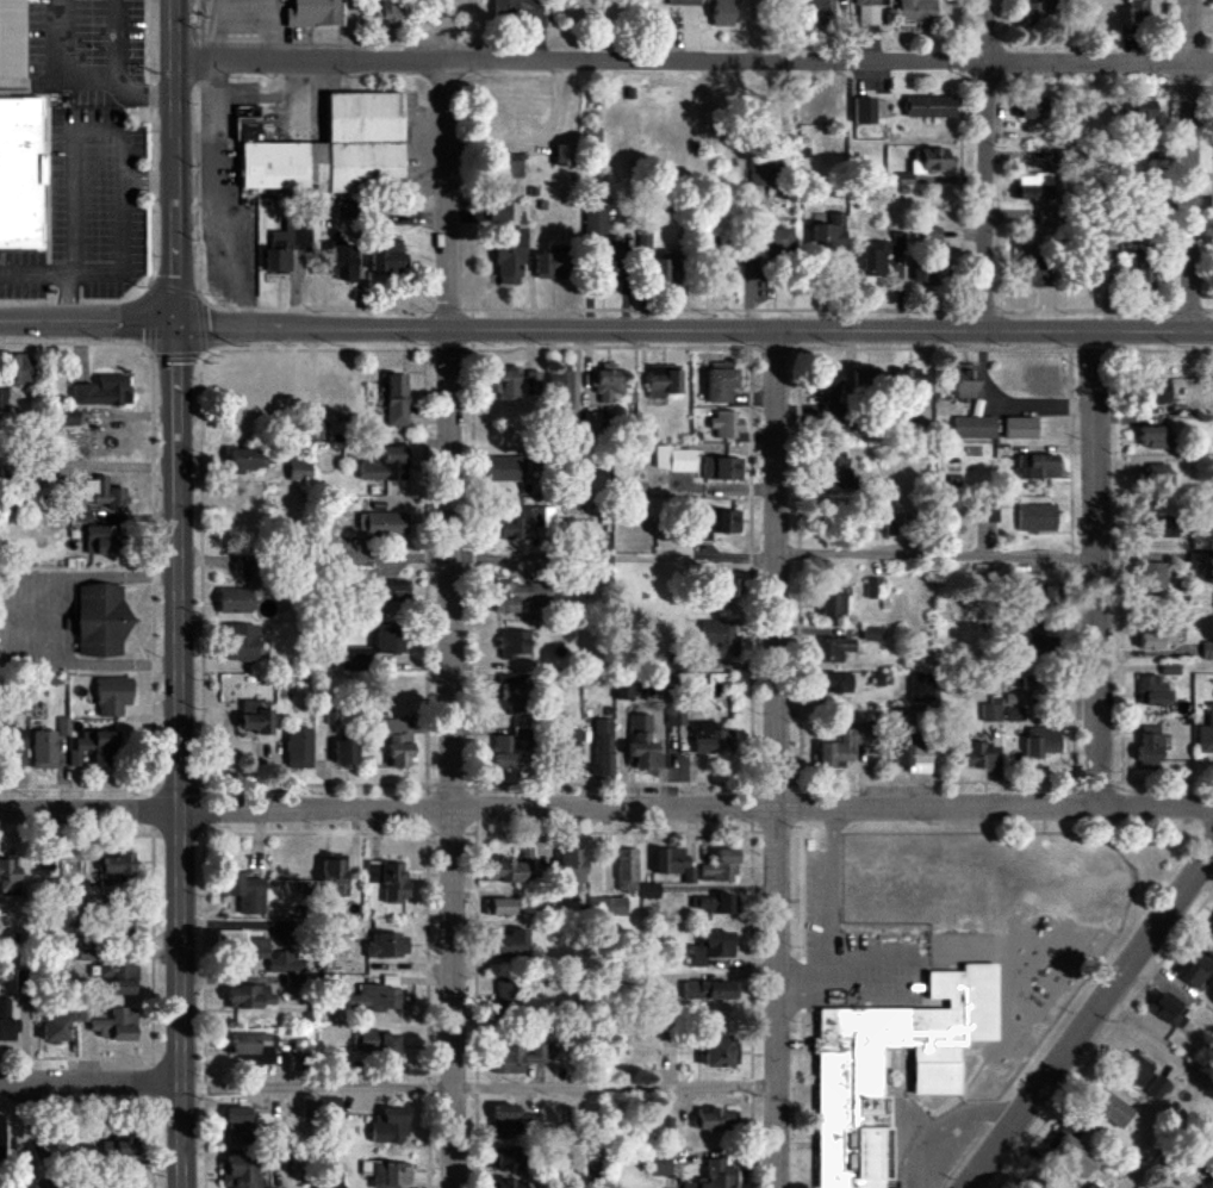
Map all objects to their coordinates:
building: (683, 2)
building: (821, 10)
building: (390, 11)
building: (869, 11)
building: (916, 11)
building: (313, 13)
building: (723, 13)
building: (1038, 13)
building: (1138, 13)
building: (13, 38)
road: (693, 60)
road: (87, 77)
road: (266, 99)
building: (929, 107)
building: (1035, 108)
building: (864, 111)
building: (1143, 116)
building: (247, 124)
road: (120, 135)
road: (194, 142)
building: (336, 151)
building: (564, 156)
building: (931, 161)
road: (987, 163)
road: (1188, 164)
building: (511, 166)
building: (20, 173)
building: (764, 173)
building: (903, 179)
road: (150, 180)
road: (195, 186)
building: (1034, 187)
road: (214, 197)
building: (344, 210)
building: (498, 213)
building: (1050, 218)
road: (194, 219)
building: (596, 222)
building: (828, 235)
building: (932, 235)
building: (290, 237)
building: (643, 240)
building: (775, 243)
building: (900, 243)
building: (387, 256)
building: (509, 256)
building: (876, 259)
building: (611, 260)
building: (278, 261)
building: (343, 263)
building: (932, 265)
building: (552, 267)
building: (1144, 267)
building: (726, 269)
building: (1035, 269)
building: (665, 270)
road: (37, 274)
building: (1099, 274)
road: (74, 299)
road: (88, 324)
road: (695, 326)
building: (20, 369)
building: (864, 380)
building: (664, 381)
building: (966, 381)
building: (608, 382)
building: (721, 382)
building: (912, 382)
building: (512, 384)
building: (560, 391)
building: (101, 392)
building: (1158, 392)
building: (829, 394)
building: (396, 400)
building: (2, 402)
building: (510, 413)
building: (68, 417)
building: (591, 424)
building: (726, 424)
building: (975, 428)
building: (1020, 428)
building: (833, 434)
building: (1155, 436)
building: (249, 458)
building: (673, 459)
building: (384, 465)
building: (1037, 466)
building: (722, 467)
building: (505, 468)
building: (836, 468)
building: (298, 471)
building: (1157, 472)
building: (102, 492)
building: (989, 512)
building: (1035, 517)
building: (895, 521)
building: (716, 522)
building: (1159, 522)
building: (381, 523)
building: (101, 539)
building: (1202, 541)
road: (935, 555)
building: (1198, 565)
road: (1097, 567)
building: (1152, 579)
building: (730, 586)
building: (872, 587)
building: (392, 590)
road: (178, 593)
road: (450, 593)
building: (238, 595)
building: (518, 595)
building: (1051, 595)
building: (836, 604)
building: (100, 620)
road: (62, 623)
building: (873, 634)
building: (1035, 634)
building: (719, 635)
building: (387, 637)
building: (1155, 637)
building: (241, 642)
building: (512, 642)
building: (832, 647)
building: (1207, 651)
building: (357, 658)
building: (1169, 668)
building: (834, 682)
building: (629, 688)
building: (921, 688)
building: (1151, 690)
building: (514, 692)
building: (112, 695)
building: (1022, 698)
building: (990, 713)
building: (255, 716)
building: (676, 716)
building: (63, 726)
building: (1206, 734)
building: (710, 738)
building: (394, 741)
building: (1041, 741)
building: (642, 742)
building: (1150, 745)
building: (14, 747)
building: (298, 747)
building: (509, 747)
building: (572, 747)
building: (602, 747)
building: (93, 748)
building: (44, 750)
building: (344, 751)
building: (977, 754)
building: (914, 757)
road: (775, 758)
road: (696, 808)
road: (89, 811)
building: (117, 863)
building: (673, 863)
building: (721, 866)
building: (76, 867)
building: (508, 869)
building: (572, 869)
building: (627, 870)
building: (8, 873)
building: (334, 876)
building: (388, 879)
building: (107, 881)
building: (648, 890)
building: (245, 892)
road: (834, 892)
building: (713, 903)
building: (500, 906)
building: (608, 906)
building: (118, 921)
building: (1212, 925)
building: (244, 944)
building: (387, 944)
building: (510, 944)
building: (711, 947)
building: (284, 963)
building: (116, 968)
building: (1195, 968)
road: (805, 979)
building: (122, 985)
building: (710, 989)
building: (506, 990)
building: (248, 996)
building: (375, 997)
building: (1169, 1009)
road: (1089, 1018)
building: (6, 1022)
building: (62, 1024)
building: (116, 1025)
road: (1157, 1041)
building: (378, 1044)
building: (253, 1046)
building: (717, 1051)
building: (516, 1057)
building: (1136, 1069)
building: (848, 1074)
road: (91, 1083)
road: (316, 1084)
road: (615, 1087)
building: (1158, 1088)
building: (307, 1106)
building: (330, 1106)
building: (1111, 1107)
building: (716, 1120)
building: (504, 1121)
road: (946, 1124)
building: (237, 1125)
building: (390, 1125)
building: (0, 1133)
building: (118, 1146)
building: (1070, 1152)
building: (503, 1158)
building: (659, 1165)
building: (241, 1170)
building: (390, 1174)
building: (715, 1176)
building: (30, 1182)
building: (506, 1183)
building: (1209, 1183)
building: (1093, 1186)
building: (330, 1187)

